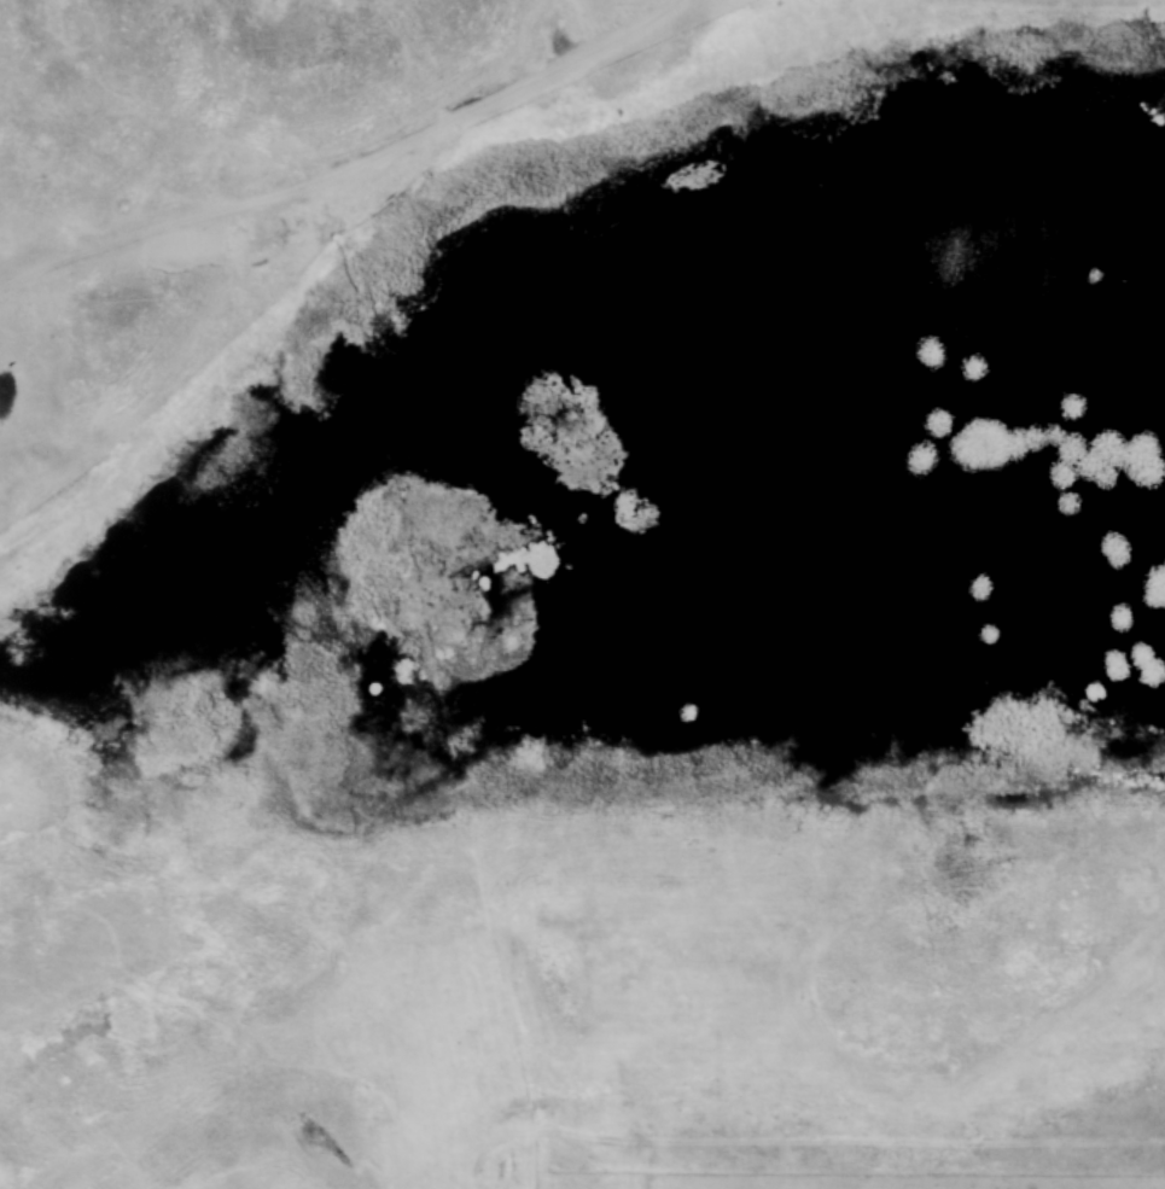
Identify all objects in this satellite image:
road: (359, 180)

